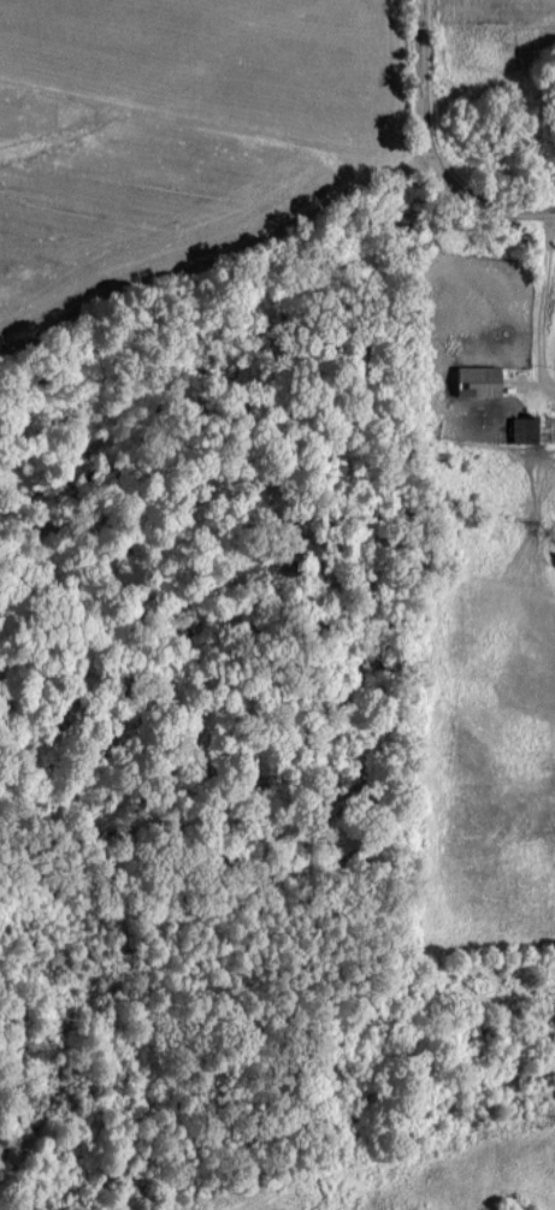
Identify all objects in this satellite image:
road: (420, 147)
road: (547, 208)
road: (211, 253)
road: (542, 300)
building: (482, 379)

